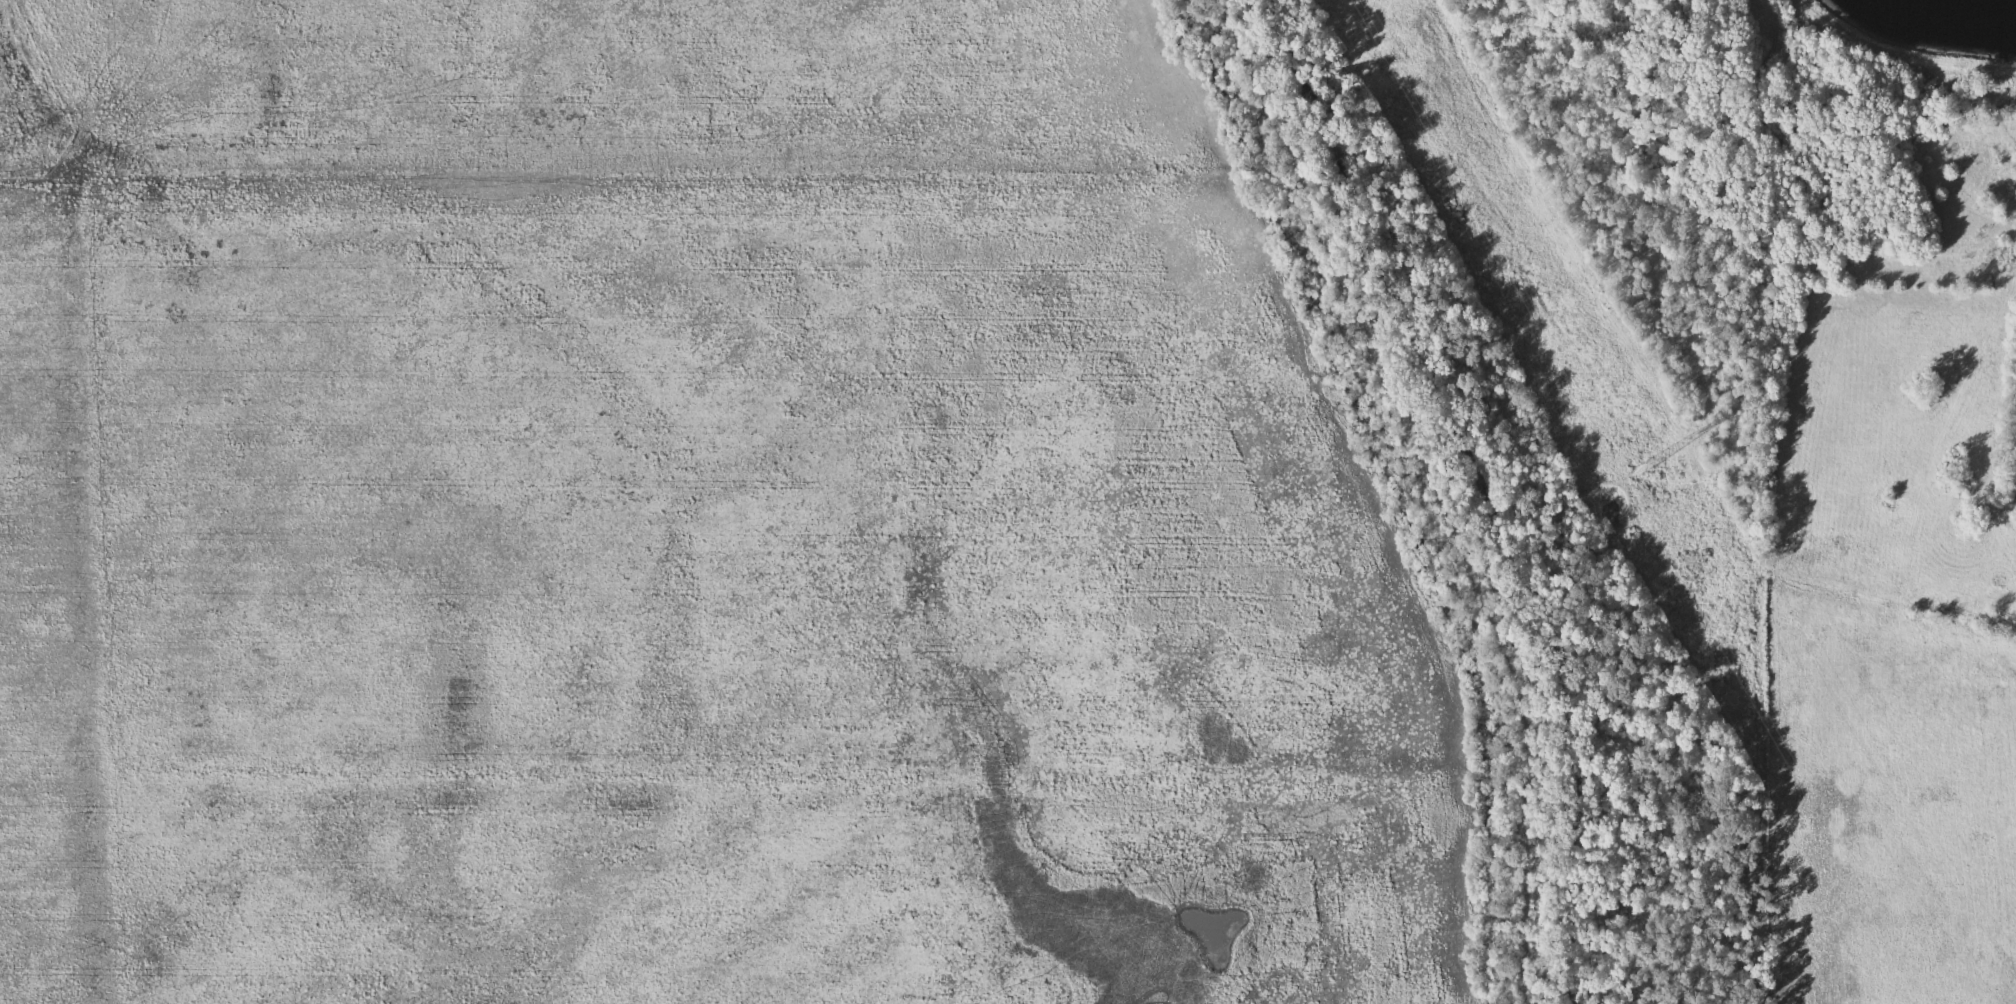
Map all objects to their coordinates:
power tower: (1651, 469)

